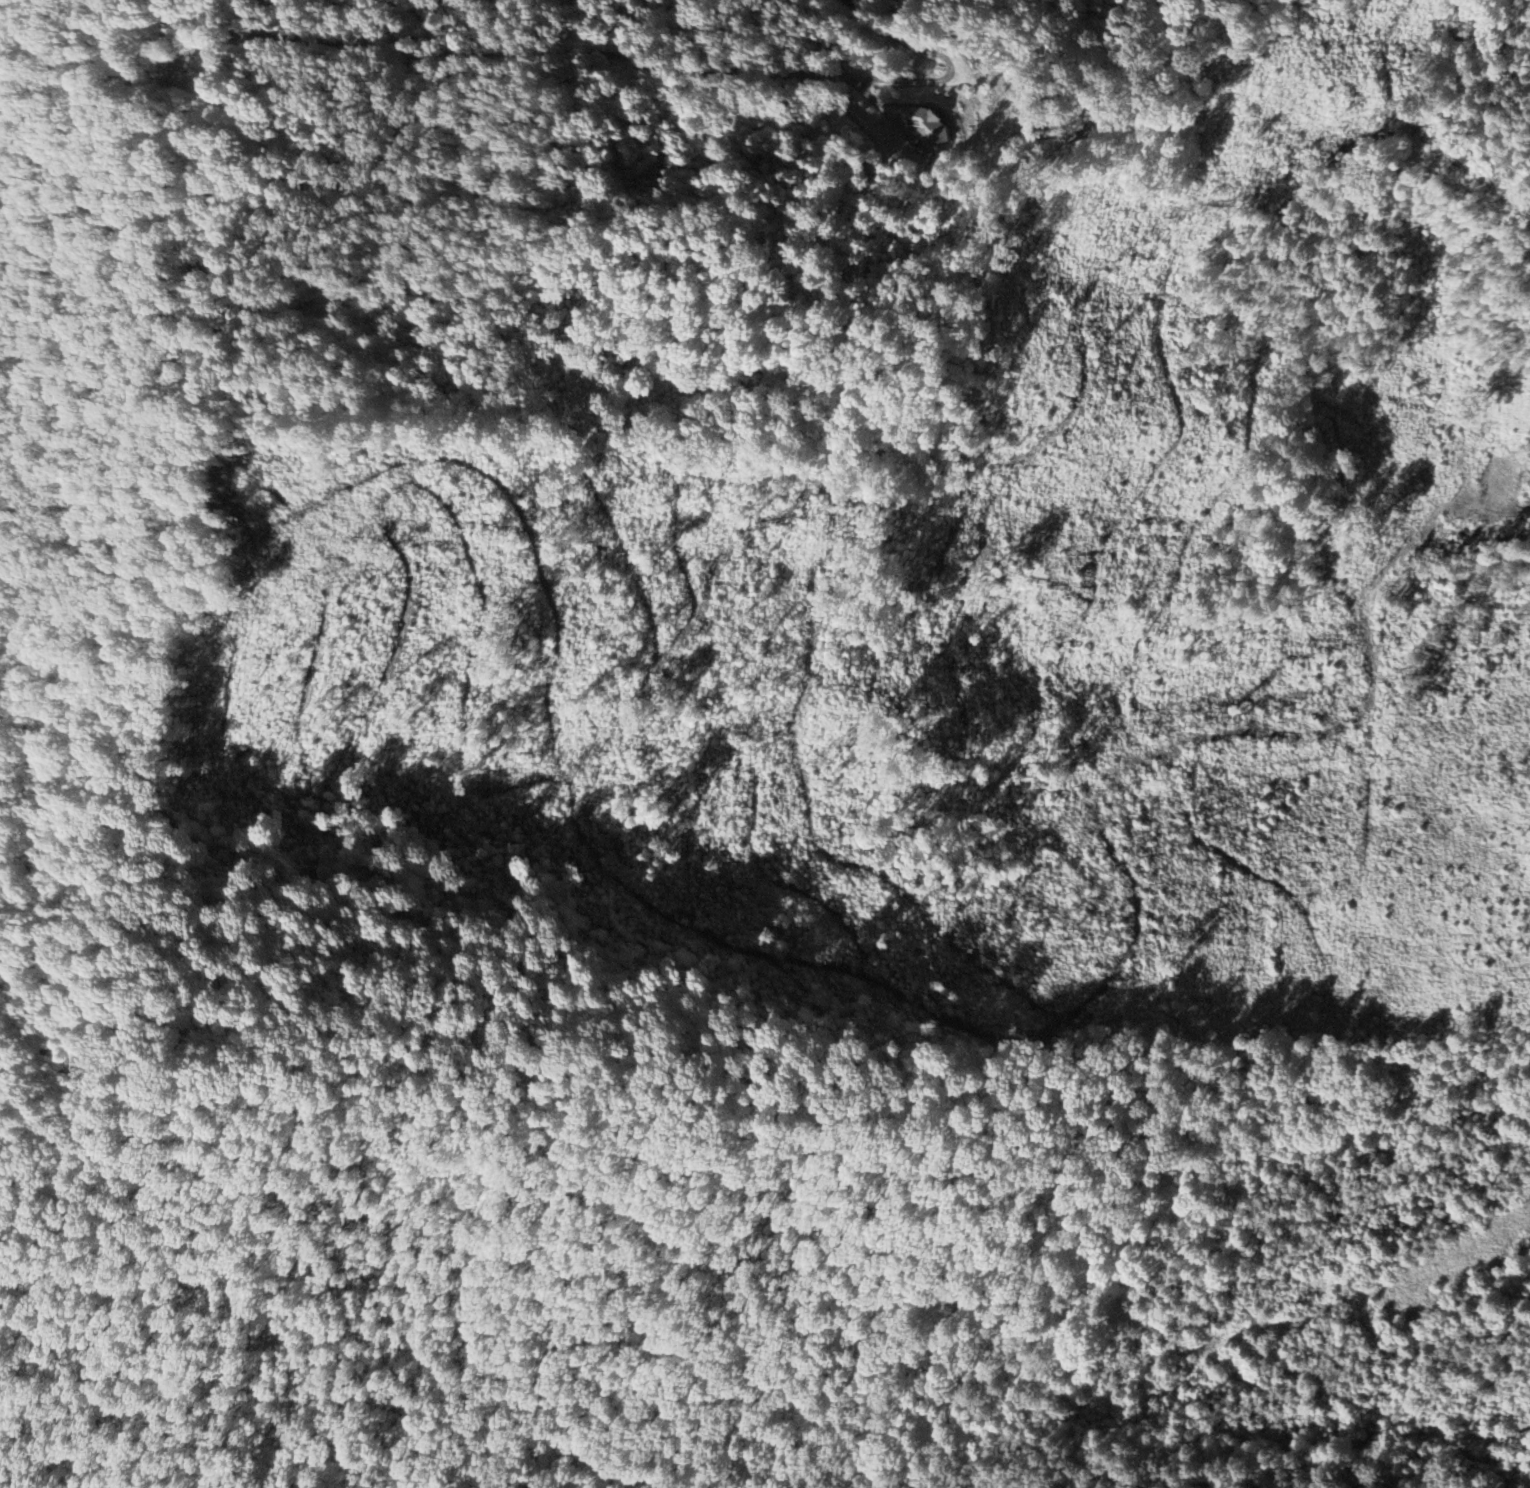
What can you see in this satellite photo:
building: (936, 125)

